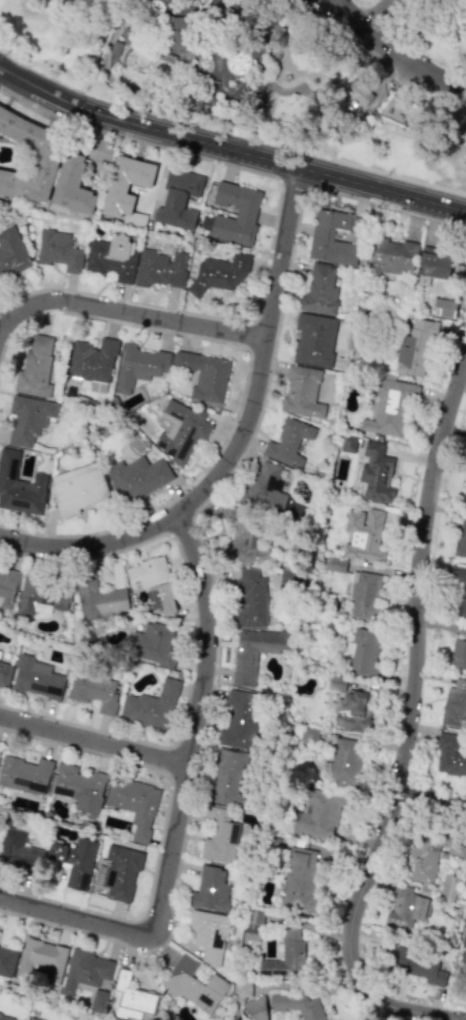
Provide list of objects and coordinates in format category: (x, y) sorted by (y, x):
building: (255, 8)
building: (227, 10)
road: (376, 14)
building: (231, 18)
road: (367, 30)
building: (125, 31)
building: (177, 31)
building: (275, 35)
road: (347, 35)
building: (115, 46)
road: (216, 48)
building: (167, 54)
road: (12, 55)
building: (287, 61)
railway: (351, 62)
theme park: (242, 64)
building: (116, 68)
park: (272, 71)
road: (433, 76)
railway: (106, 77)
raceway: (294, 79)
railway: (132, 85)
building: (359, 92)
building: (192, 103)
road: (171, 108)
building: (264, 117)
railway: (247, 119)
building: (308, 131)
railway: (308, 131)
road: (229, 148)
parking lot: (91, 153)
building: (48, 159)
road: (393, 173)
building: (72, 184)
building: (126, 184)
building: (180, 198)
building: (248, 210)
road: (271, 234)
building: (322, 236)
building: (59, 250)
building: (11, 254)
building: (390, 256)
building: (113, 258)
building: (434, 263)
building: (160, 268)
building: (219, 273)
building: (320, 290)
building: (444, 307)
road: (127, 311)
building: (314, 339)
building: (415, 346)
building: (92, 359)
building: (139, 366)
building: (35, 368)
building: (205, 375)
road: (242, 388)
building: (303, 392)
building: (390, 407)
building: (29, 418)
building: (183, 430)
road: (238, 439)
building: (288, 442)
building: (348, 444)
building: (376, 475)
building: (137, 477)
building: (21, 486)
building: (264, 489)
building: (79, 490)
building: (465, 490)
building: (242, 535)
building: (364, 535)
building: (460, 538)
road: (382, 570)
building: (291, 578)
building: (153, 584)
building: (8, 587)
building: (363, 594)
building: (43, 598)
building: (98, 598)
building: (250, 599)
building: (462, 599)
building: (153, 645)
building: (0, 651)
building: (363, 651)
building: (254, 652)
building: (458, 654)
building: (5, 673)
building: (38, 678)
building: (336, 684)
building: (94, 690)
building: (455, 704)
building: (151, 706)
building: (353, 712)
building: (239, 720)
road: (409, 722)
road: (97, 742)
building: (0, 750)
building: (450, 756)
building: (345, 761)
building: (25, 774)
building: (227, 776)
building: (80, 788)
road: (430, 802)
building: (134, 804)
road: (186, 804)
building: (318, 816)
building: (0, 825)
building: (218, 836)
building: (456, 849)
building: (18, 851)
building: (424, 857)
building: (76, 861)
building: (121, 872)
building: (299, 883)
building: (449, 886)
building: (211, 889)
building: (405, 907)
building: (252, 929)
building: (209, 935)
building: (285, 957)
building: (42, 959)
building: (7, 961)
building: (463, 963)
building: (416, 966)
building: (88, 977)
building: (194, 985)
building: (243, 989)
building: (132, 998)
building: (300, 1005)
building: (257, 1009)
building: (6, 1017)
building: (31, 1019)

